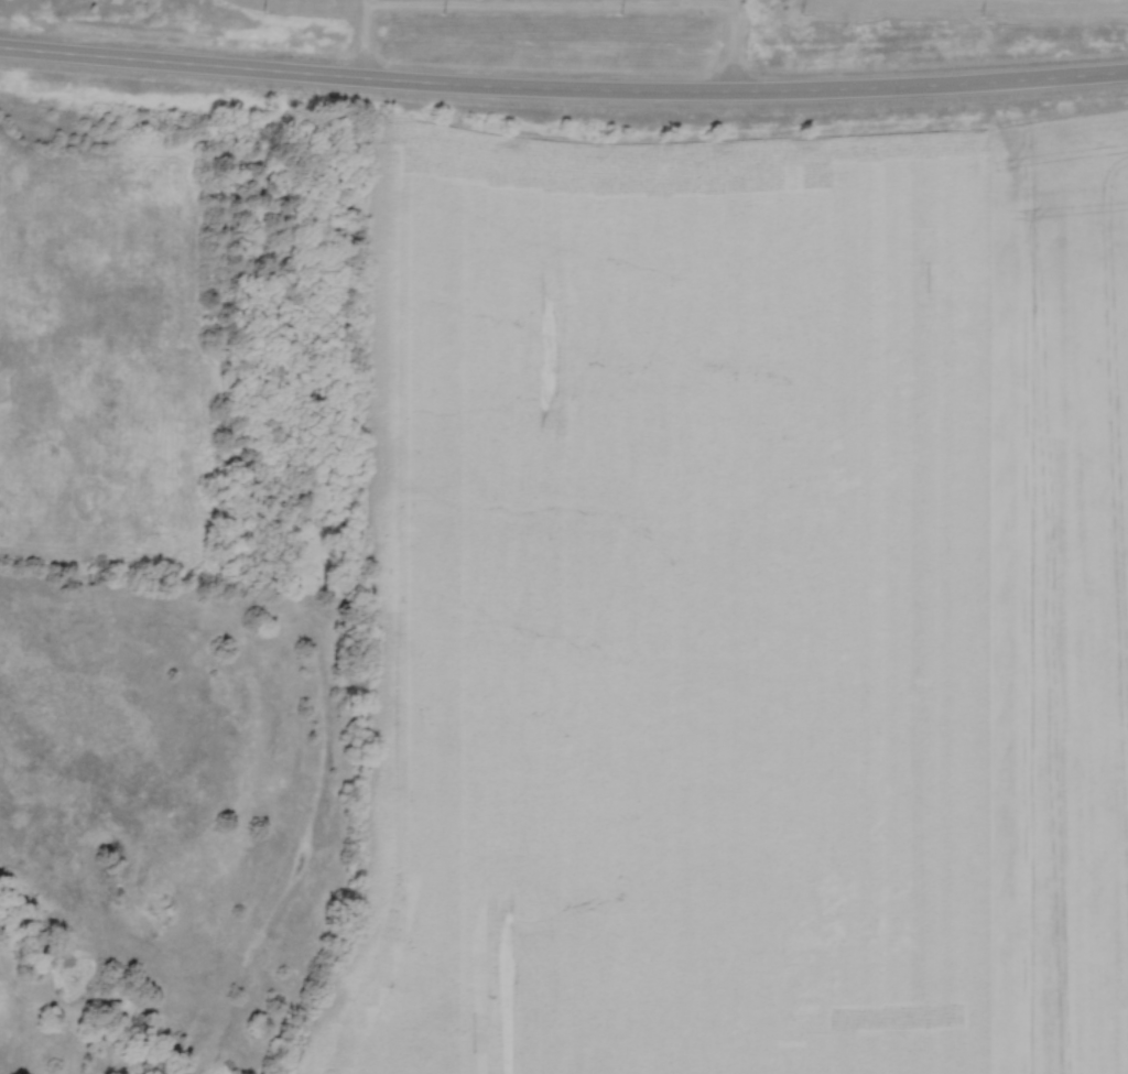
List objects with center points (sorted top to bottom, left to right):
park: (520, 8)
road: (362, 43)
road: (735, 48)
road: (563, 93)

